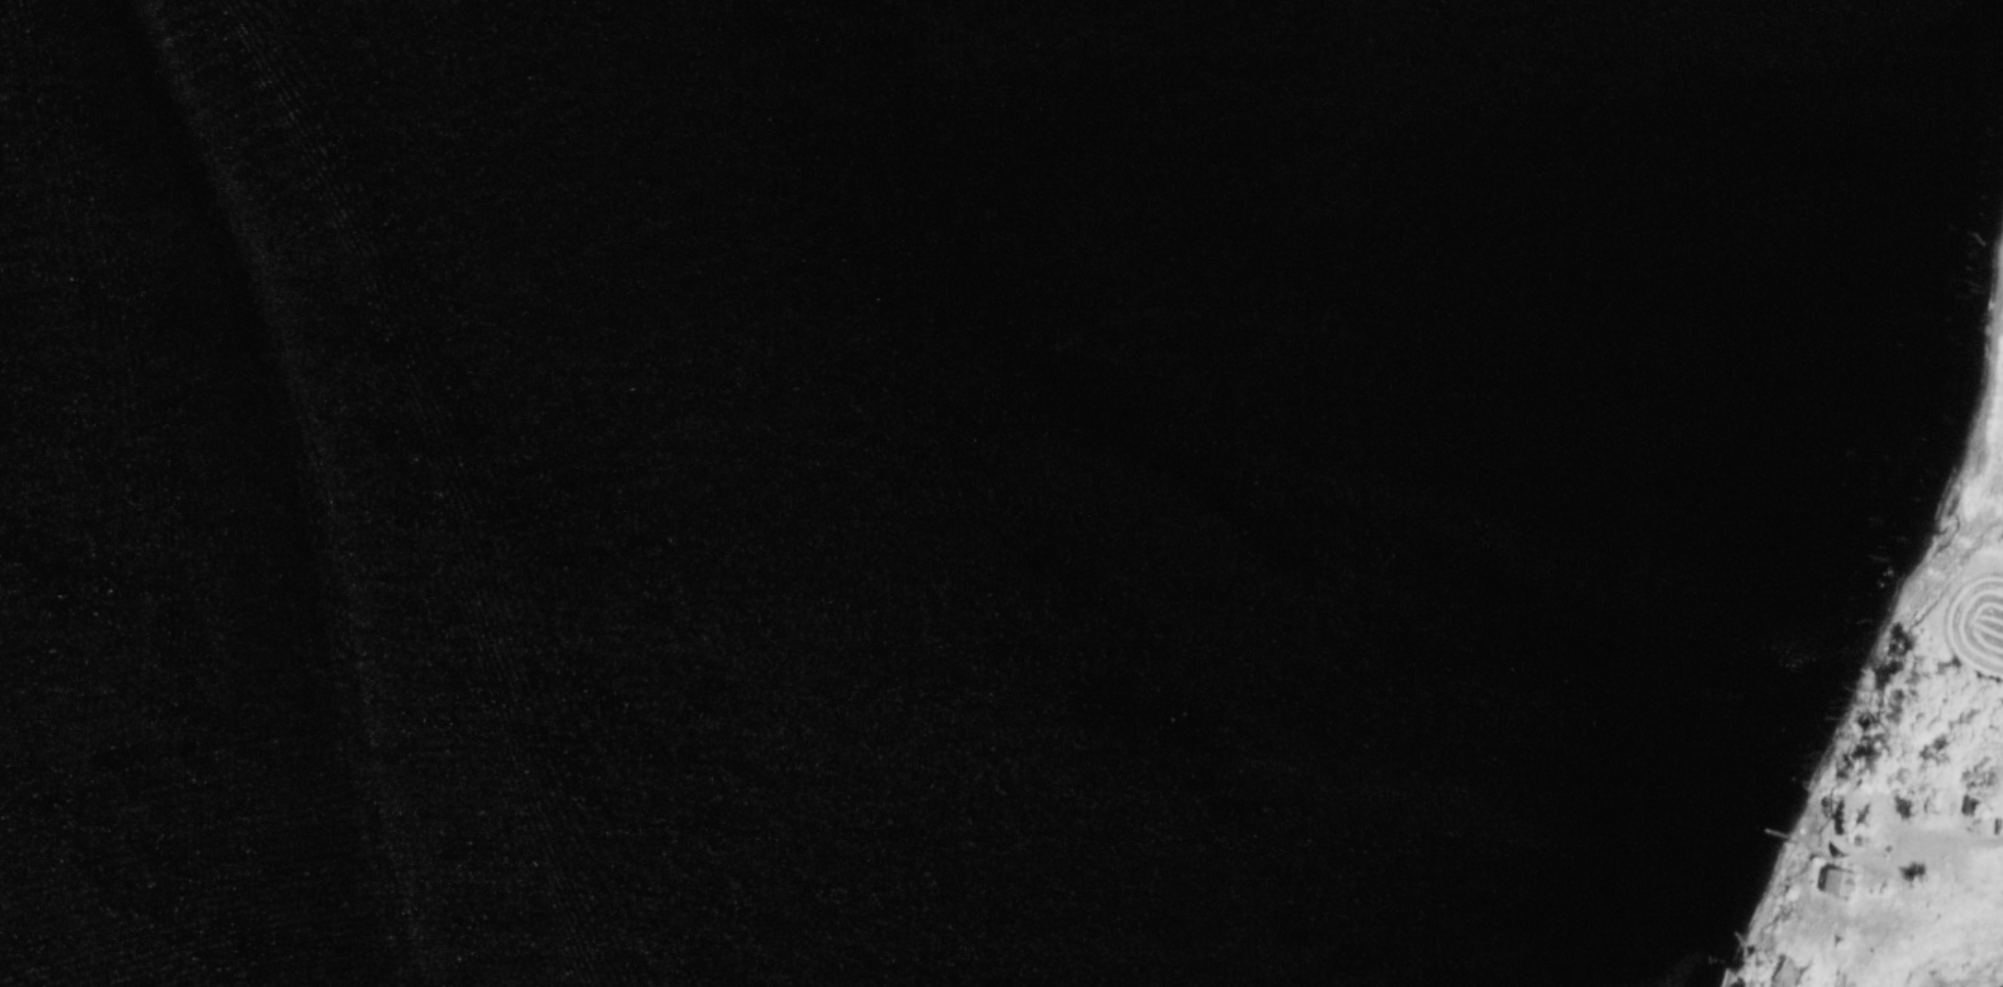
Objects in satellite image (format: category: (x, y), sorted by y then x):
building: (1821, 880)
building: (1836, 884)
road: (1929, 921)

